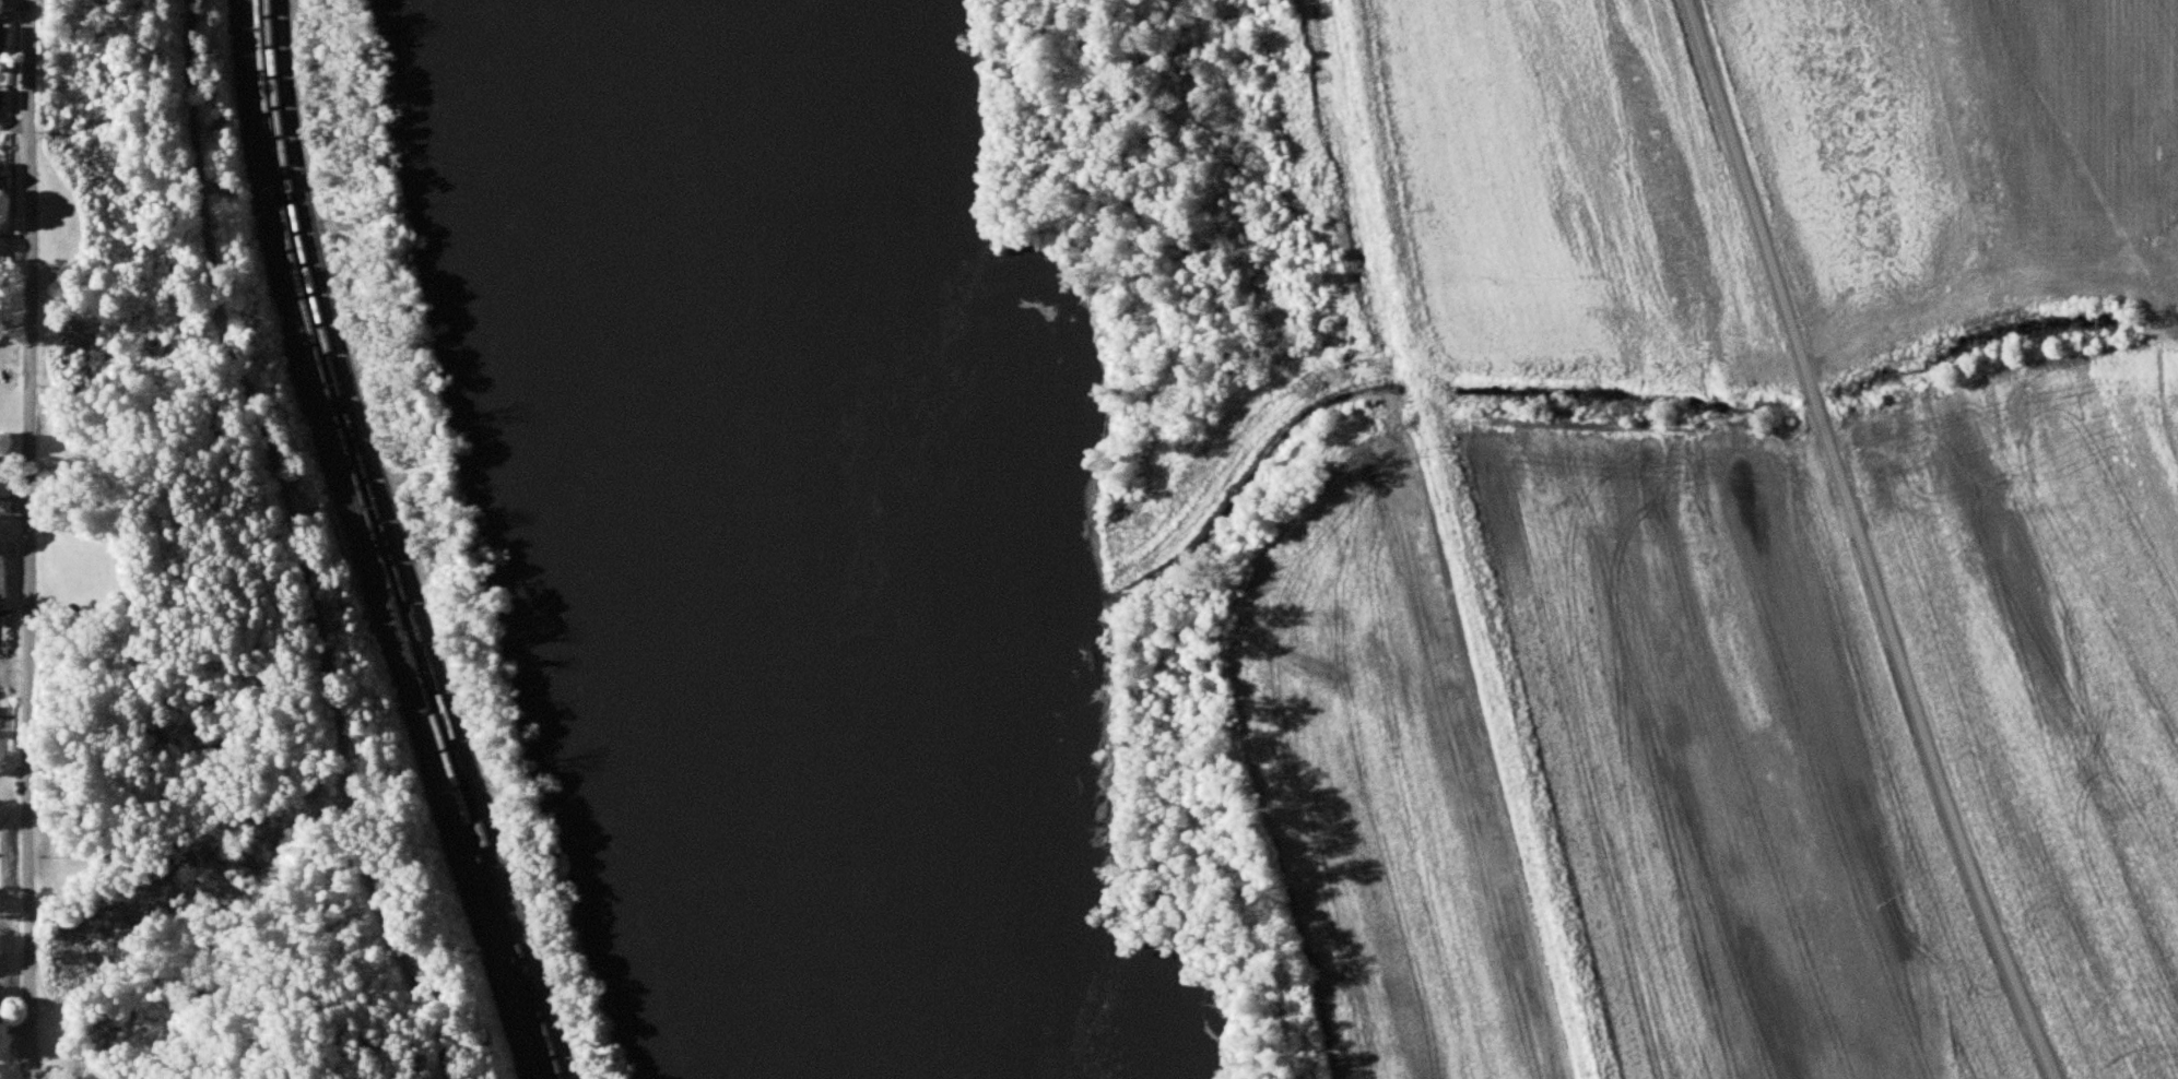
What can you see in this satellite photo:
building: (5, 43)
building: (4, 99)
building: (2, 179)
road: (30, 539)
road: (301, 543)
river: (779, 543)
road: (1863, 543)
railway: (356, 545)
railway: (367, 545)
railway: (379, 545)
railway: (390, 545)

